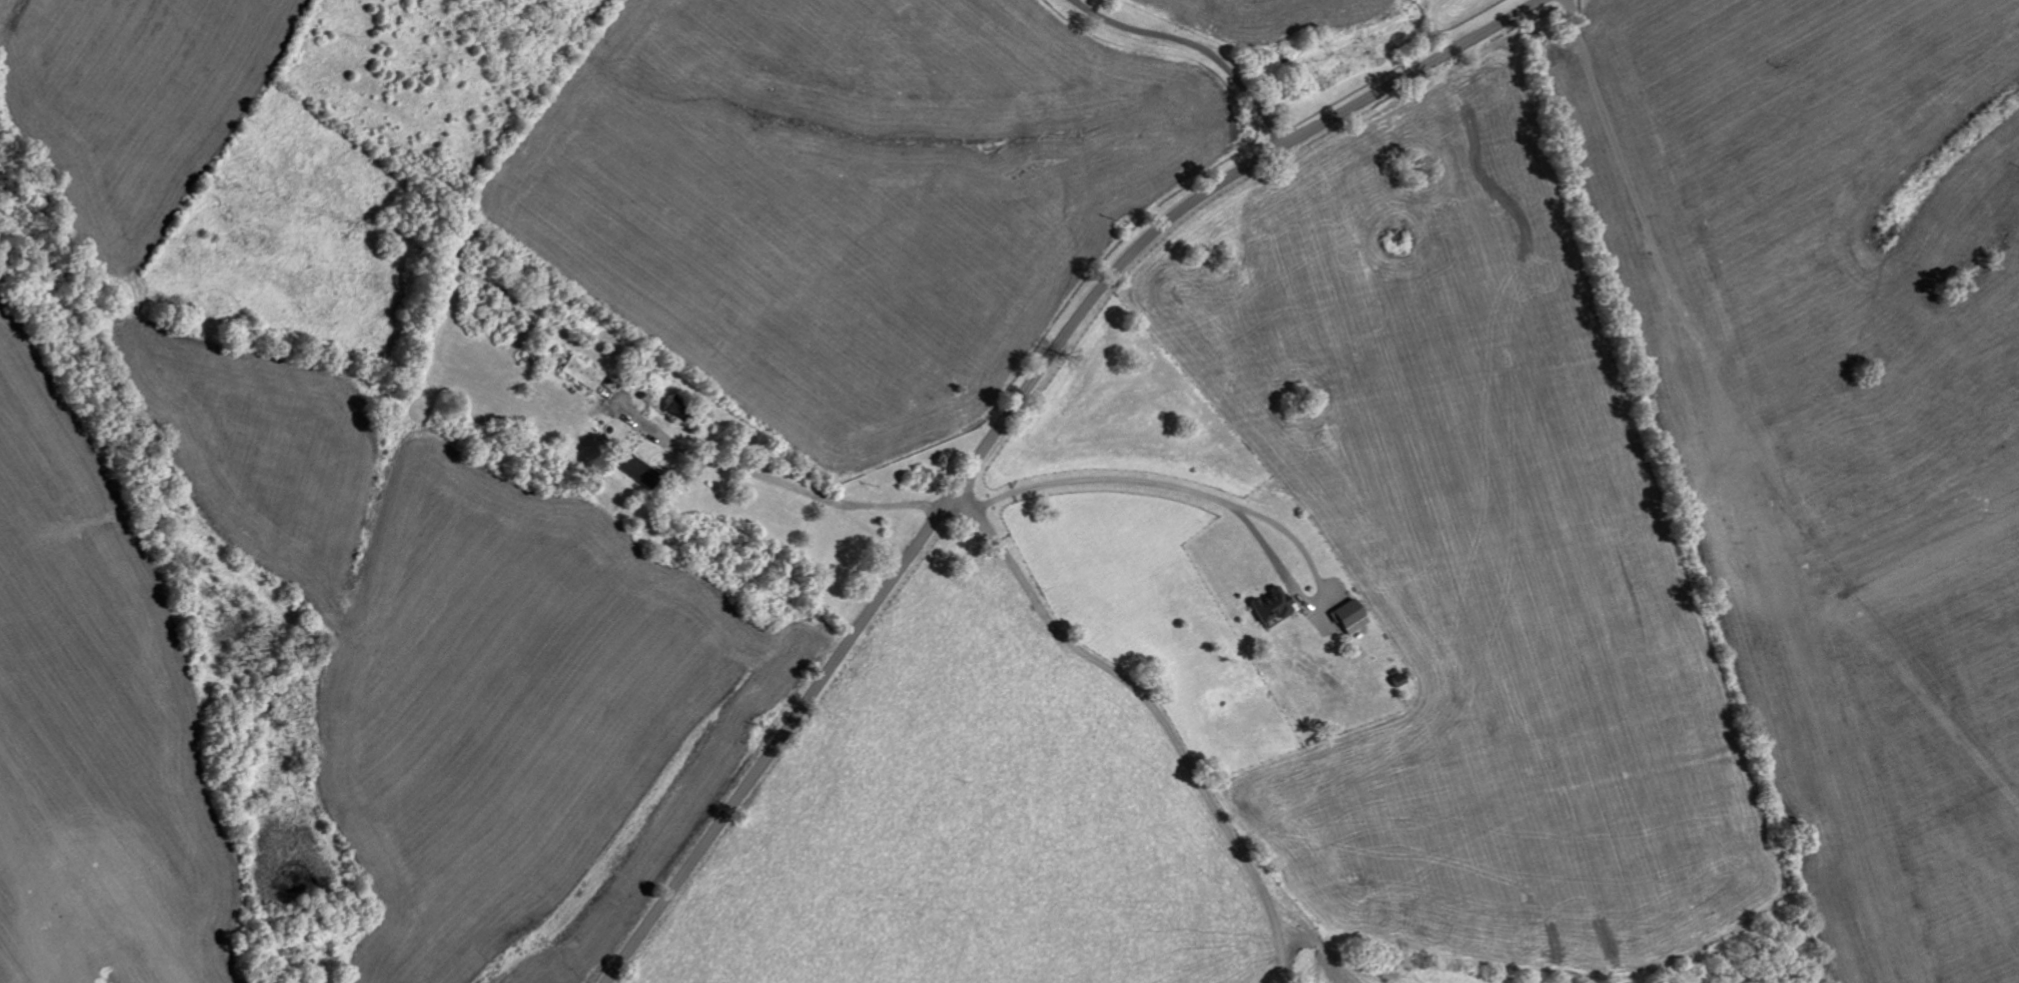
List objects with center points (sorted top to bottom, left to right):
road: (1196, 44)
building: (580, 371)
road: (1007, 418)
road: (1127, 479)
road: (772, 493)
building: (1269, 605)
building: (1348, 615)
road: (1158, 719)

